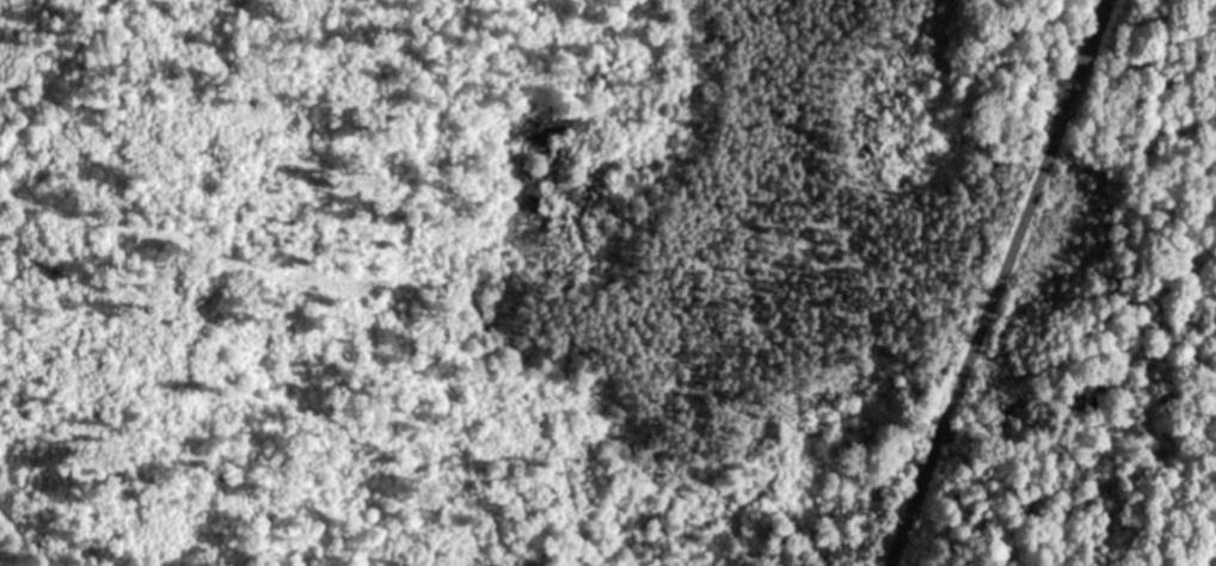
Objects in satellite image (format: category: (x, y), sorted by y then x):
road: (993, 283)

